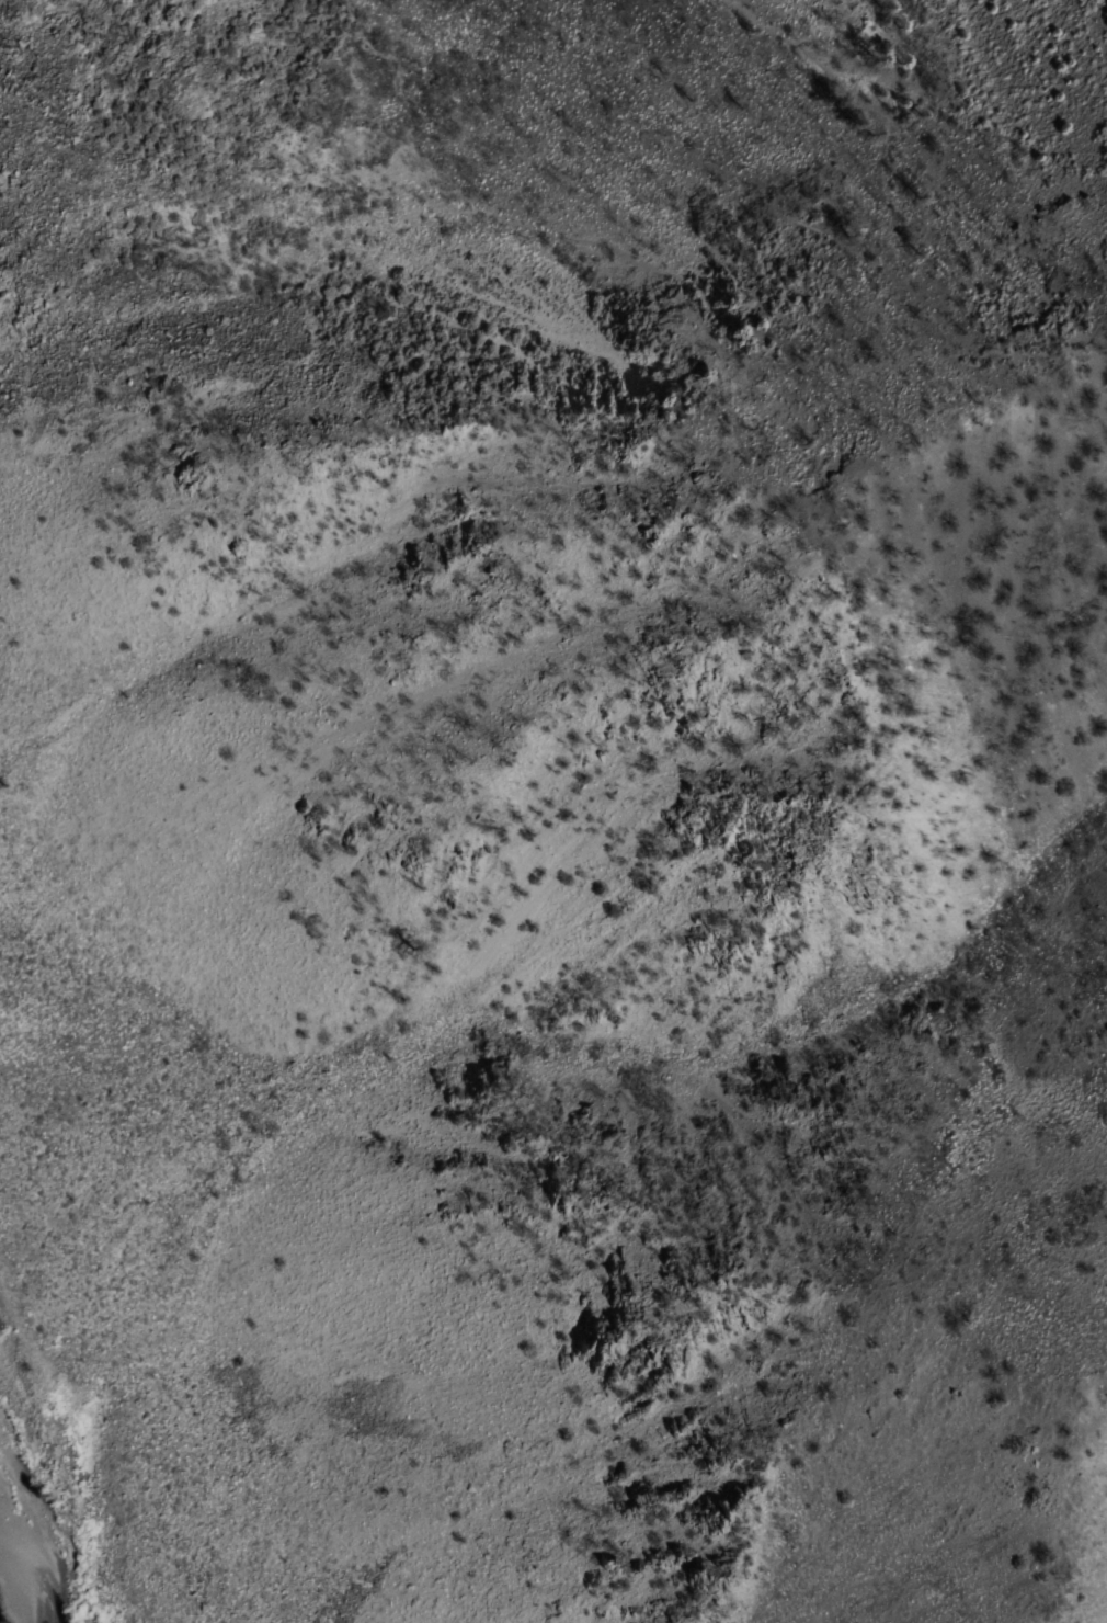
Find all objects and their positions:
river: (11, 1600)

